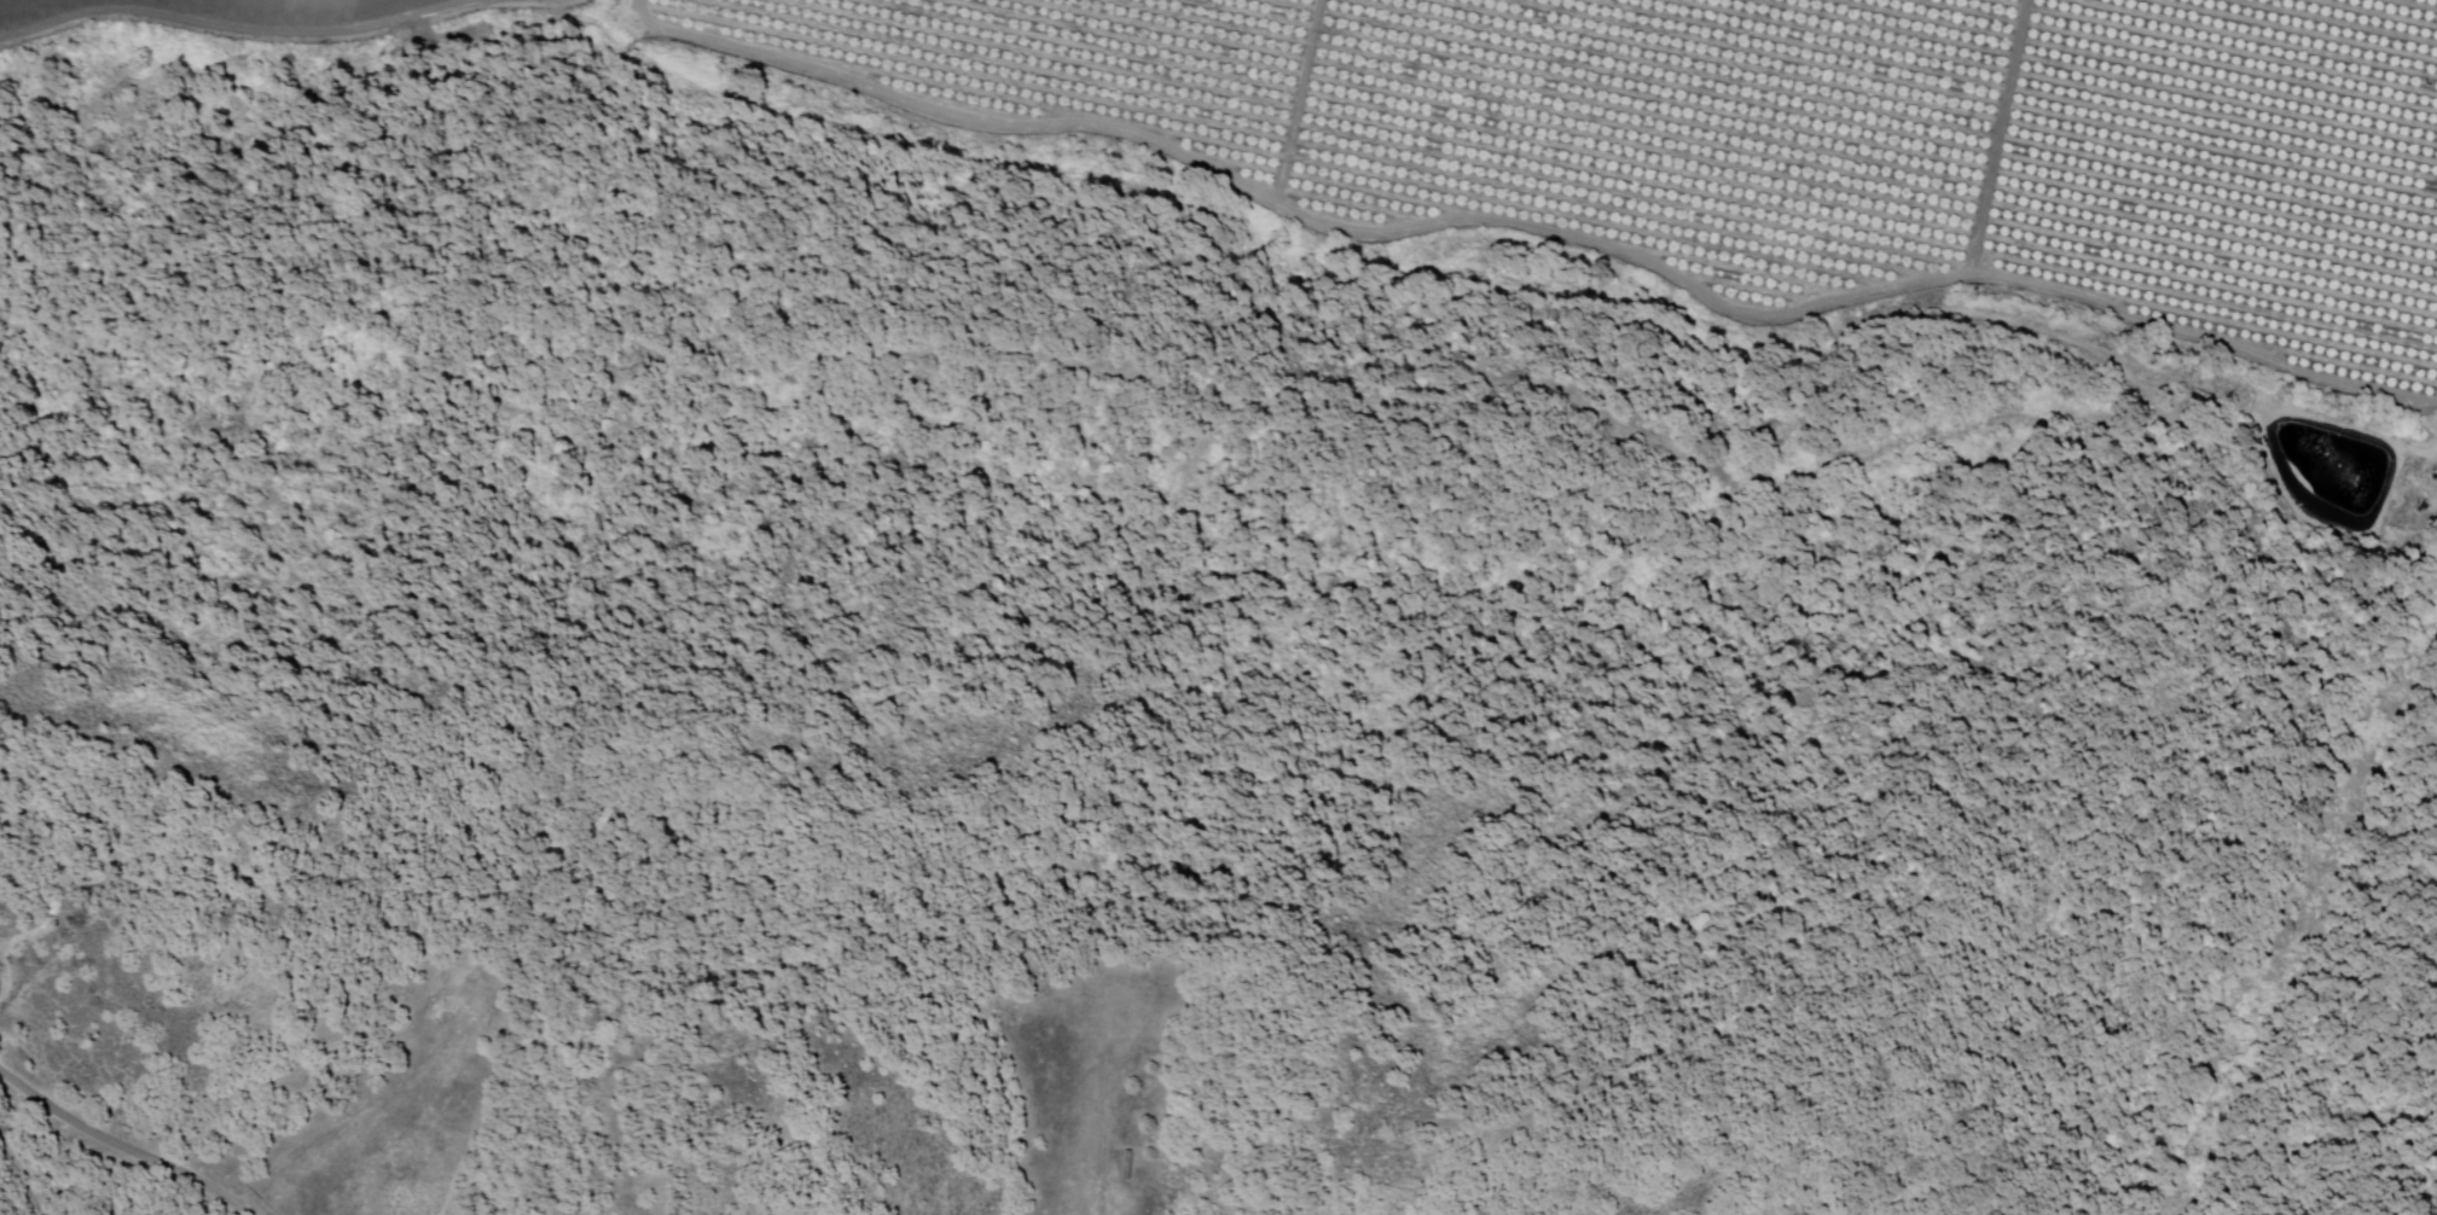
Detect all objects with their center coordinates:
crop: (408, 0)
road: (1301, 100)
road: (121, 1146)
building: (1127, 1165)
road: (21, 1173)

